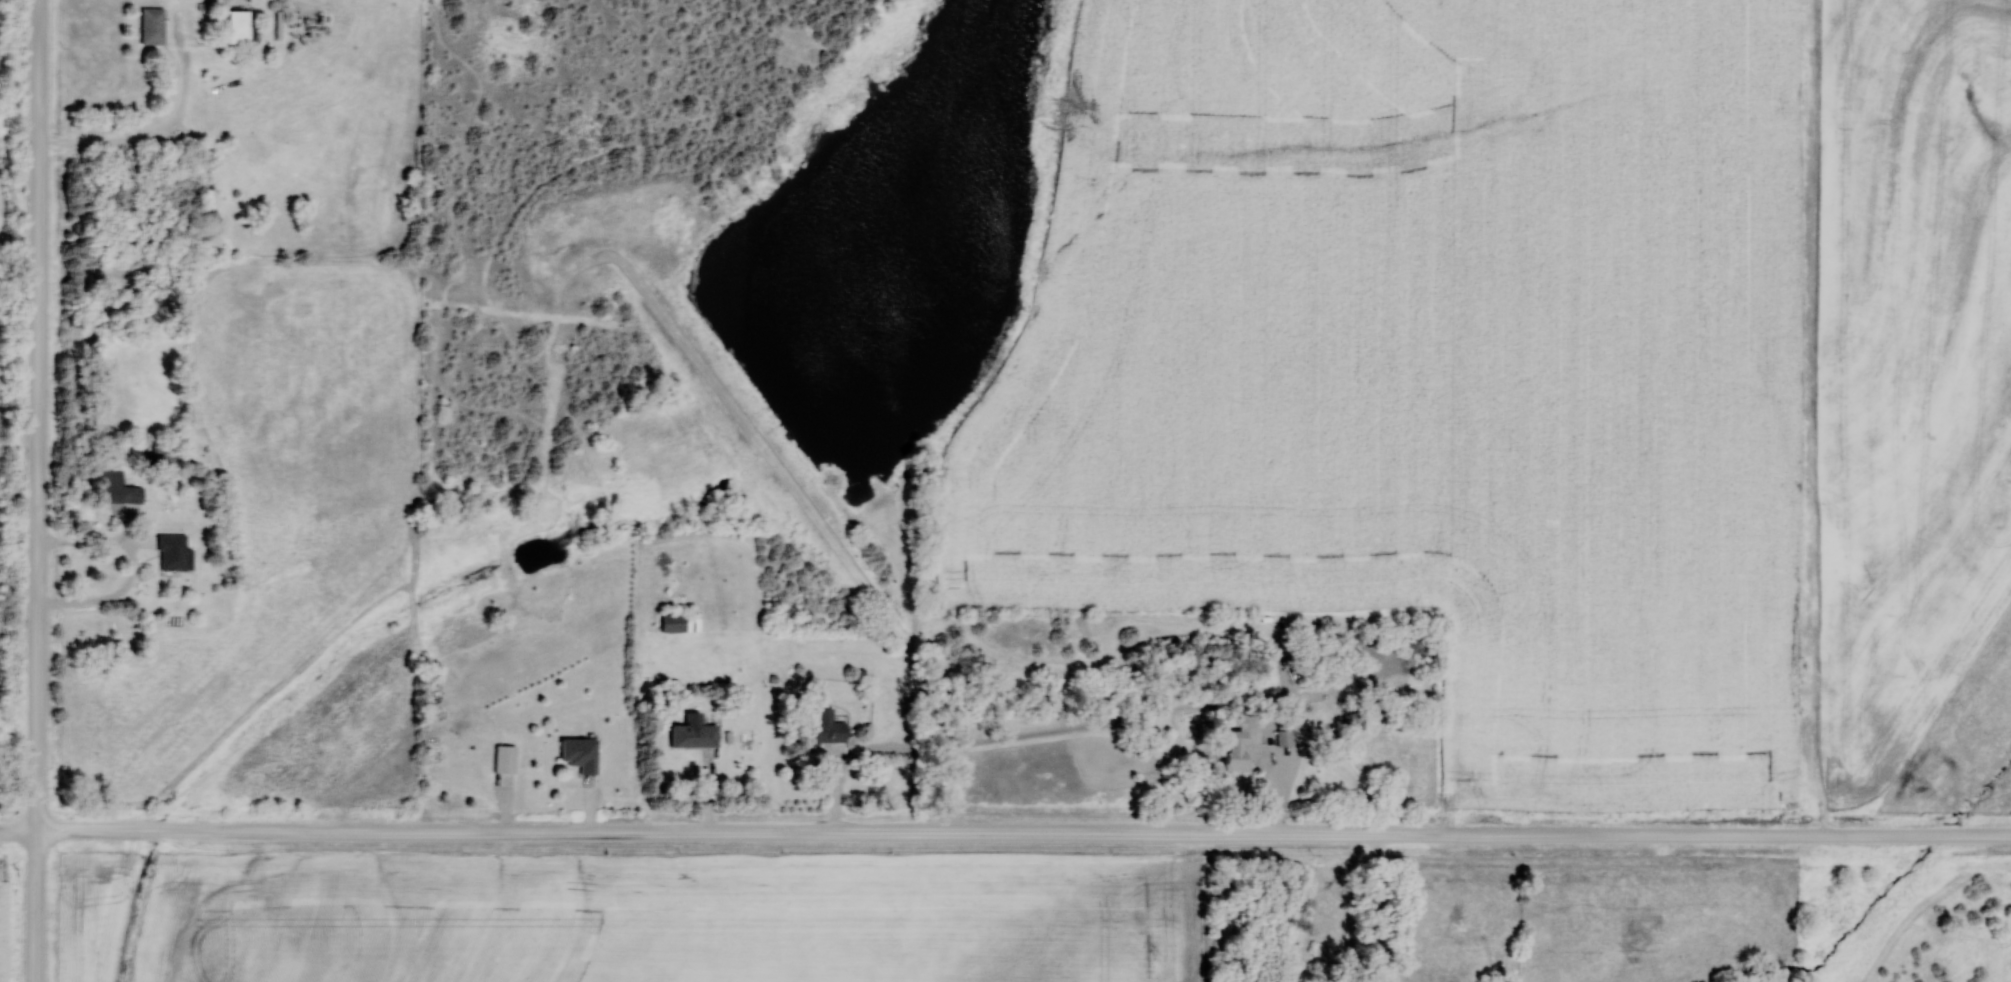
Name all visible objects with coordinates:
building: (154, 26)
building: (241, 26)
building: (120, 488)
road: (38, 491)
building: (177, 553)
building: (673, 622)
building: (827, 727)
building: (695, 736)
building: (1284, 738)
building: (1239, 751)
building: (581, 754)
building: (506, 758)
road: (1005, 832)
building: (1440, 978)

